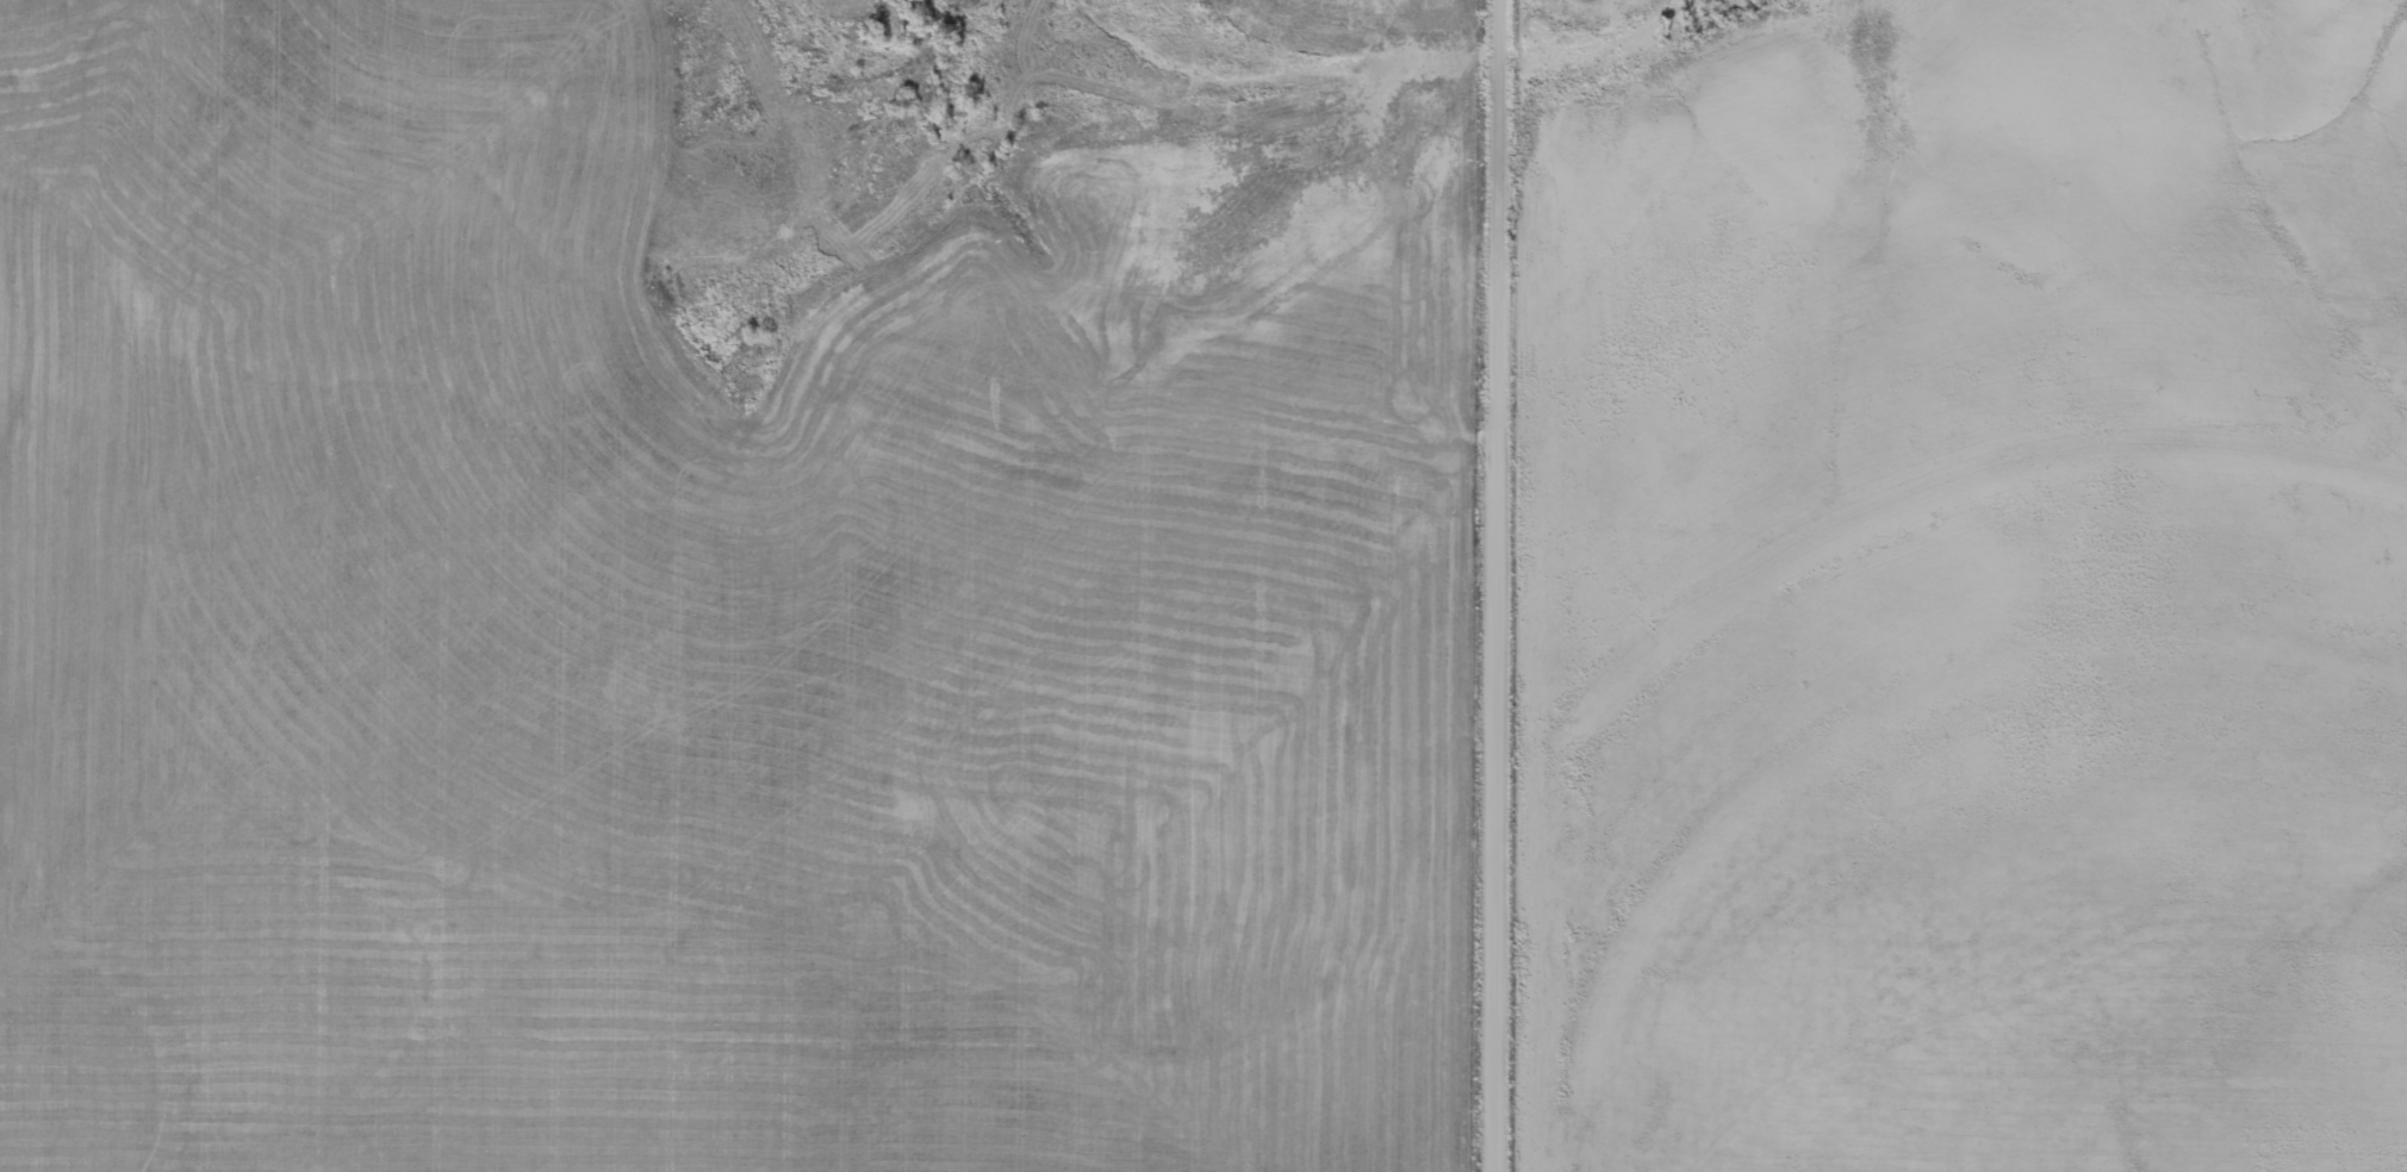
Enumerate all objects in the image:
road: (1504, 585)

